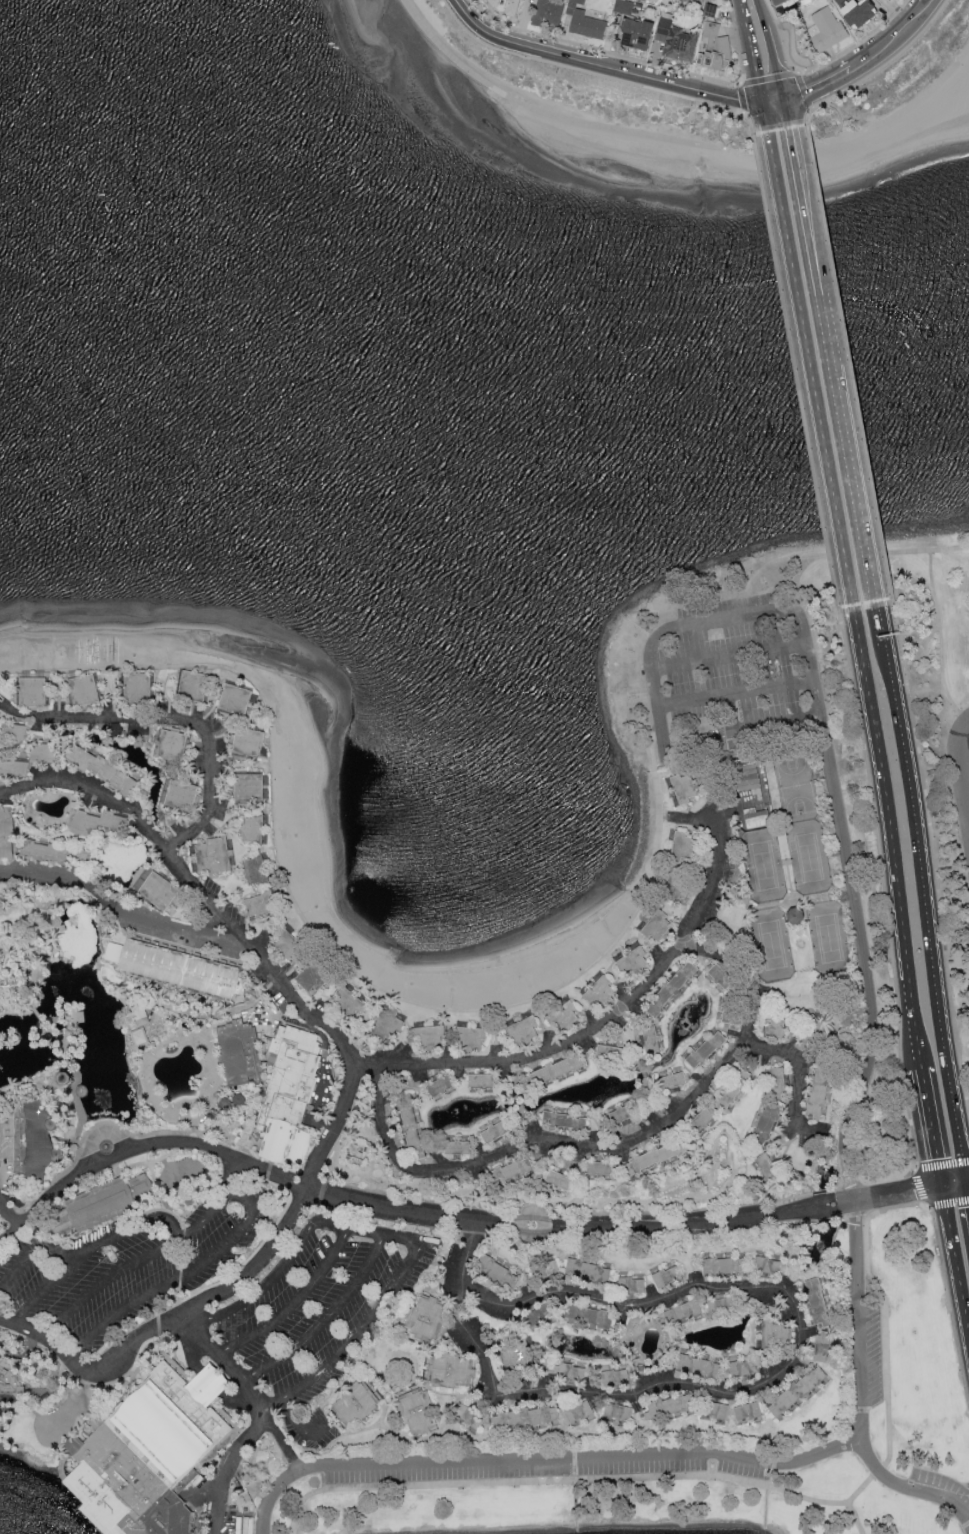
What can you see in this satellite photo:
building: (704, 0)
building: (490, 1)
building: (775, 1)
building: (622, 6)
building: (508, 7)
building: (853, 11)
building: (546, 12)
building: (583, 21)
building: (824, 28)
building: (633, 33)
building: (674, 40)
building: (713, 47)
road: (773, 48)
road: (750, 49)
road: (865, 58)
road: (600, 67)
road: (579, 69)
road: (772, 76)
road: (775, 98)
traffic signals: (786, 98)
traffic signals: (764, 99)
road: (789, 109)
road: (811, 109)
road: (766, 110)
road: (749, 118)
road: (680, 139)
road: (810, 210)
road: (812, 366)
road: (855, 452)
road: (864, 554)
park: (949, 609)
road: (885, 621)
road: (942, 638)
road: (730, 655)
parking lot: (734, 676)
building: (195, 687)
building: (138, 688)
building: (85, 691)
building: (33, 692)
road: (737, 693)
building: (237, 700)
road: (171, 721)
road: (966, 724)
building: (14, 734)
building: (250, 743)
building: (173, 746)
building: (29, 760)
road: (962, 767)
building: (110, 774)
road: (831, 776)
road: (77, 785)
park: (797, 787)
building: (250, 788)
building: (683, 789)
park: (751, 795)
building: (182, 797)
road: (689, 819)
building: (97, 821)
building: (253, 830)
building: (7, 833)
road: (157, 838)
road: (893, 841)
building: (681, 848)
building: (57, 854)
building: (215, 856)
park: (810, 859)
park: (765, 866)
building: (257, 872)
road: (43, 877)
road: (792, 887)
building: (157, 890)
building: (678, 890)
road: (99, 895)
building: (263, 907)
road: (928, 909)
building: (794, 918)
road: (805, 920)
road: (178, 927)
building: (656, 927)
park: (830, 940)
building: (288, 943)
park: (773, 946)
park: (802, 946)
road: (259, 961)
building: (632, 962)
building: (179, 969)
building: (315, 978)
building: (720, 978)
building: (671, 990)
building: (602, 991)
building: (350, 1003)
building: (730, 1012)
building: (138, 1013)
building: (565, 1016)
road: (366, 1023)
building: (385, 1026)
road: (599, 1026)
building: (777, 1026)
building: (525, 1031)
building: (814, 1034)
building: (137, 1035)
building: (430, 1037)
building: (473, 1037)
building: (651, 1041)
building: (705, 1052)
building: (241, 1053)
building: (612, 1053)
building: (553, 1073)
road: (801, 1078)
building: (68, 1079)
building: (483, 1081)
building: (672, 1081)
building: (776, 1084)
building: (441, 1086)
building: (733, 1090)
building: (818, 1093)
building: (291, 1098)
building: (624, 1115)
building: (567, 1122)
building: (700, 1122)
building: (765, 1125)
building: (412, 1127)
road: (932, 1128)
building: (496, 1133)
road: (102, 1134)
building: (25, 1140)
road: (609, 1147)
fountain: (107, 1148)
building: (458, 1148)
building: (656, 1158)
road: (248, 1164)
building: (767, 1169)
building: (602, 1170)
building: (513, 1171)
road: (229, 1176)
road: (967, 1180)
building: (560, 1181)
traffic signals: (965, 1181)
road: (958, 1182)
road: (946, 1184)
traffic signals: (940, 1185)
road: (967, 1191)
road: (897, 1194)
parking lot: (4, 1196)
road: (248, 1199)
building: (102, 1205)
road: (12, 1216)
road: (535, 1217)
road: (711, 1224)
road: (340, 1228)
road: (534, 1234)
road: (9, 1236)
road: (46, 1246)
road: (95, 1248)
road: (954, 1255)
road: (263, 1260)
parking lot: (134, 1263)
road: (439, 1263)
road: (19, 1264)
building: (766, 1266)
building: (725, 1267)
building: (545, 1271)
building: (591, 1271)
building: (500, 1273)
building: (666, 1278)
building: (630, 1286)
building: (817, 1301)
building: (724, 1306)
road: (337, 1308)
building: (687, 1310)
parking lot: (324, 1313)
building: (543, 1314)
building: (592, 1316)
building: (427, 1317)
building: (670, 1317)
road: (364, 1327)
road: (46, 1338)
building: (774, 1339)
building: (823, 1346)
road: (858, 1351)
parking lot: (869, 1351)
building: (515, 1353)
road: (226, 1364)
building: (700, 1369)
building: (741, 1370)
building: (454, 1371)
building: (572, 1372)
building: (614, 1378)
building: (9, 1380)
road: (765, 1387)
building: (796, 1393)
road: (73, 1404)
building: (356, 1404)
building: (669, 1408)
building: (418, 1410)
building: (715, 1411)
building: (581, 1412)
building: (748, 1412)
building: (619, 1413)
building: (471, 1416)
building: (526, 1418)
road: (297, 1421)
road: (282, 1444)
park: (706, 1446)
building: (152, 1455)
road: (582, 1458)
parking lot: (546, 1465)
road: (228, 1470)
road: (721, 1477)
parking lot: (939, 1494)
road: (271, 1496)
road: (936, 1498)
road: (854, 1519)

